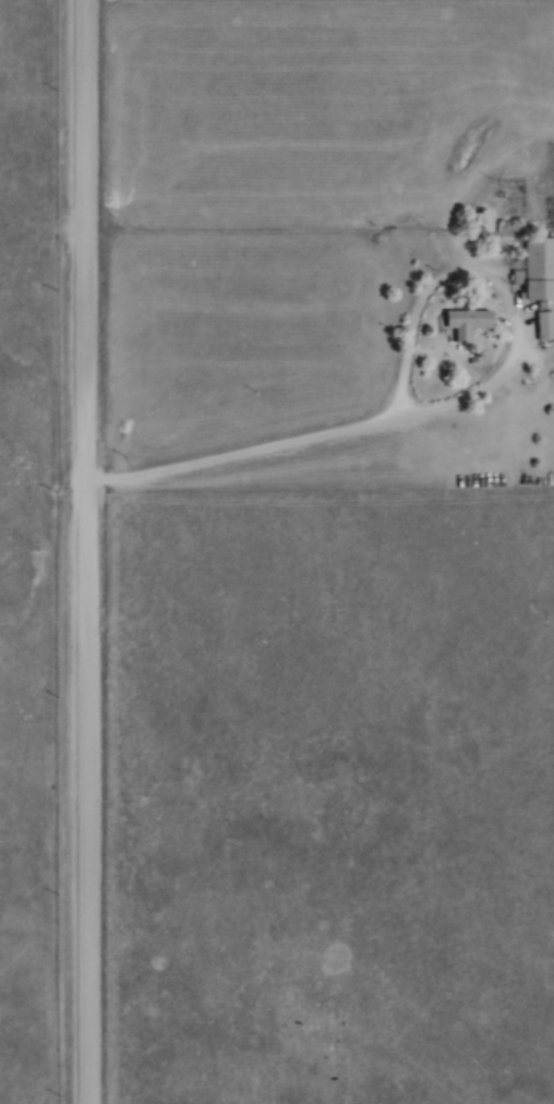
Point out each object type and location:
building: (475, 223)
building: (534, 269)
road: (418, 305)
building: (462, 321)
building: (541, 326)
road: (347, 425)
road: (84, 551)

